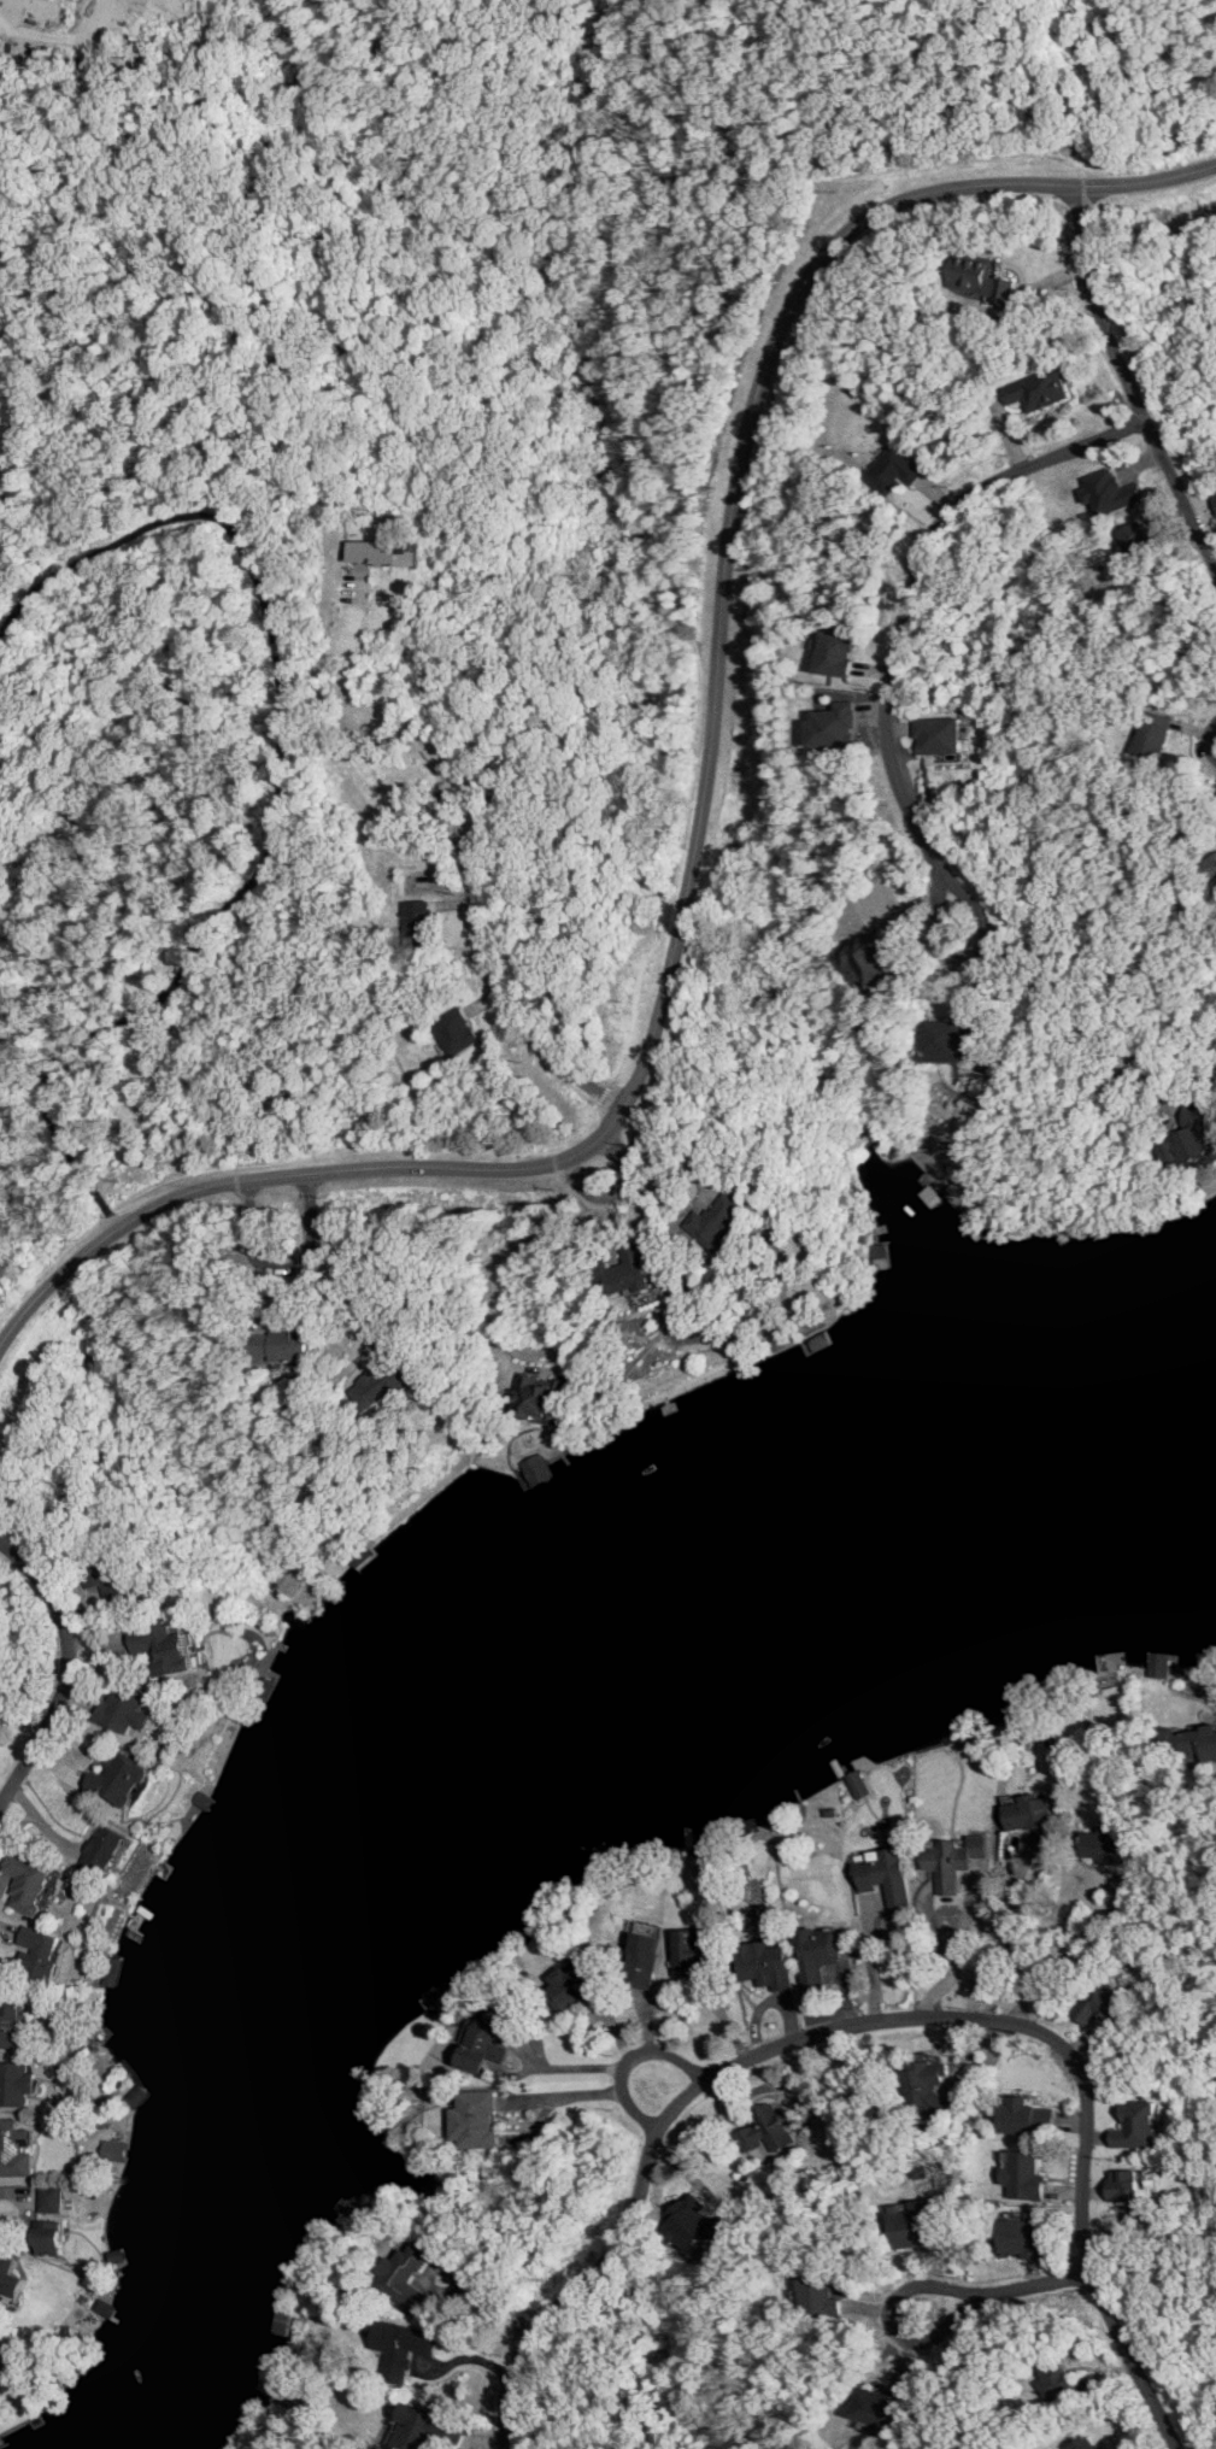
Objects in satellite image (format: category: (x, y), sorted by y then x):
building: (54, 0)
building: (1, 1)
road: (797, 8)
road: (883, 16)
building: (1, 42)
road: (1163, 63)
road: (1212, 65)
road: (998, 70)
road: (354, 127)
road: (651, 130)
road: (563, 265)
building: (979, 277)
road: (660, 278)
road: (1128, 380)
building: (1039, 389)
building: (893, 470)
building: (1110, 492)
building: (1214, 498)
building: (1134, 539)
building: (383, 552)
road: (904, 613)
building: (835, 653)
road: (374, 709)
building: (834, 726)
building: (1152, 734)
building: (939, 735)
road: (704, 821)
building: (1210, 864)
building: (418, 917)
building: (871, 961)
road: (490, 988)
road: (1055, 1009)
building: (457, 1030)
building: (951, 1041)
road: (603, 1093)
building: (1188, 1139)
road: (283, 1159)
road: (621, 1196)
building: (716, 1220)
road: (498, 1261)
road: (284, 1264)
building: (629, 1272)
building: (282, 1345)
building: (383, 1384)
building: (540, 1398)
building: (536, 1469)
building: (108, 1580)
building: (164, 1648)
building: (1158, 1664)
road: (69, 1669)
building: (124, 1710)
building: (1189, 1743)
building: (121, 1779)
building: (857, 1784)
building: (1029, 1816)
building: (1110, 1844)
building: (105, 1849)
building: (952, 1860)
building: (885, 1877)
building: (28, 1883)
road: (1012, 1904)
road: (1070, 1949)
building: (688, 1952)
building: (40, 1954)
building: (813, 1954)
road: (952, 1956)
building: (641, 1960)
building: (764, 1962)
road: (868, 1965)
building: (570, 1986)
building: (439, 1997)
building: (1104, 2004)
road: (880, 2021)
building: (11, 2024)
building: (484, 2039)
road: (633, 2059)
building: (16, 2084)
building: (923, 2087)
building: (1026, 2116)
building: (475, 2120)
building: (1136, 2126)
building: (765, 2128)
building: (16, 2149)
building: (114, 2150)
building: (1021, 2174)
building: (1123, 2185)
building: (49, 2198)
building: (688, 2222)
building: (1024, 2234)
building: (48, 2237)
building: (8, 2277)
building: (404, 2277)
road: (1009, 2290)
building: (818, 2297)
building: (277, 2320)
building: (400, 2347)
building: (0, 2361)
building: (264, 2379)
building: (1063, 2383)
building: (879, 2408)
building: (423, 2430)
building: (1083, 2443)

